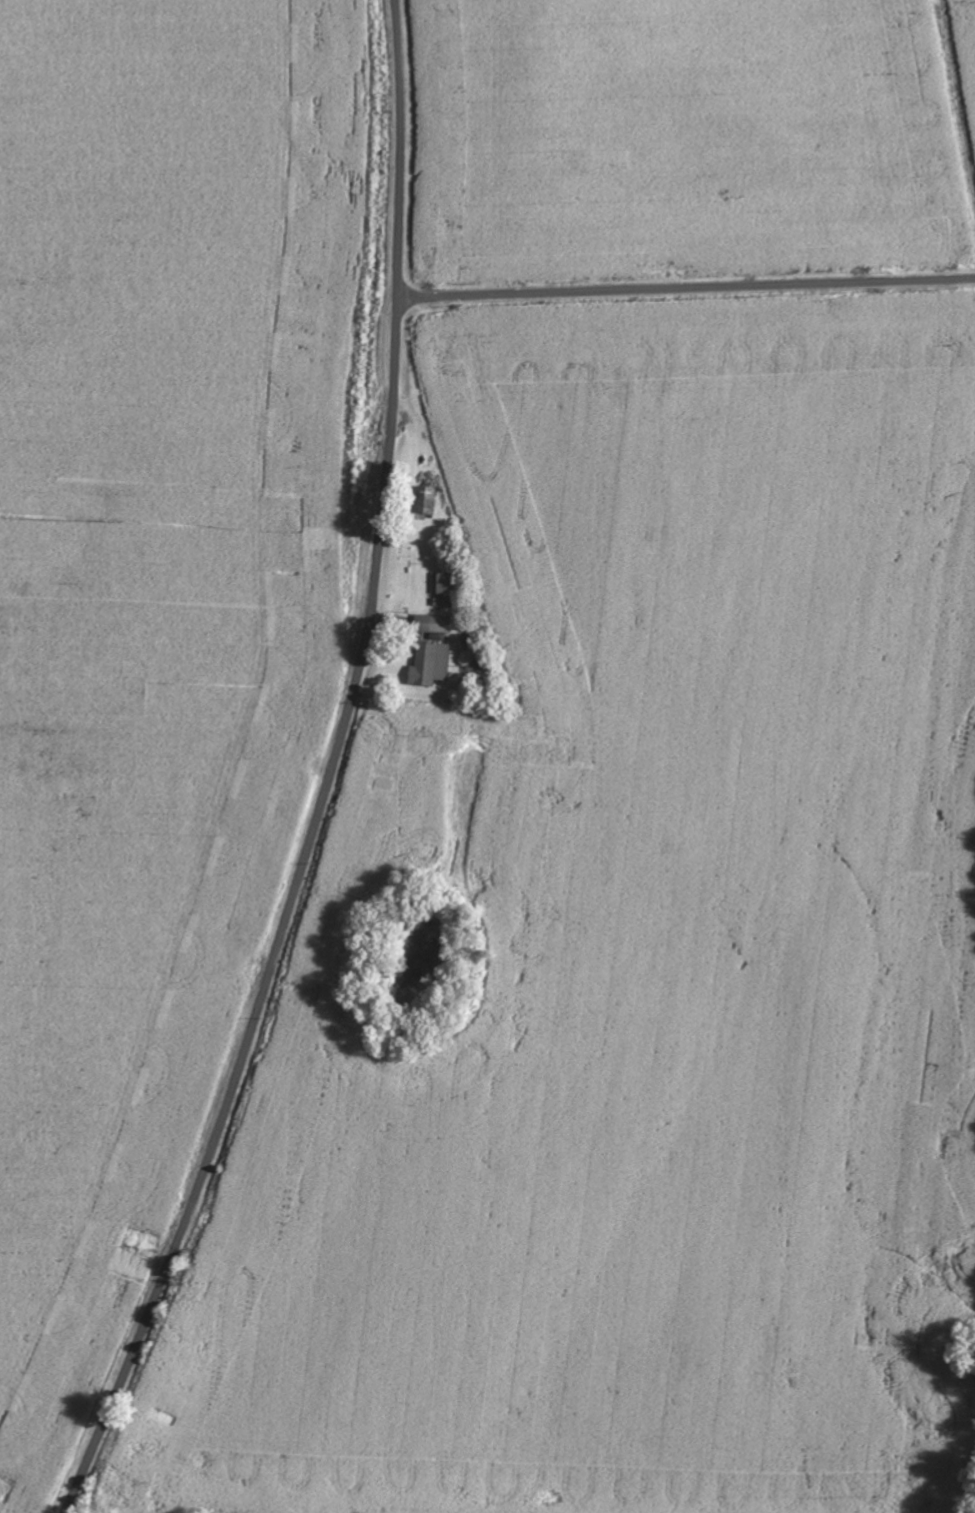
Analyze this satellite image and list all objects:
road: (686, 289)
building: (424, 501)
building: (447, 584)
building: (433, 624)
building: (430, 663)
road: (330, 776)

